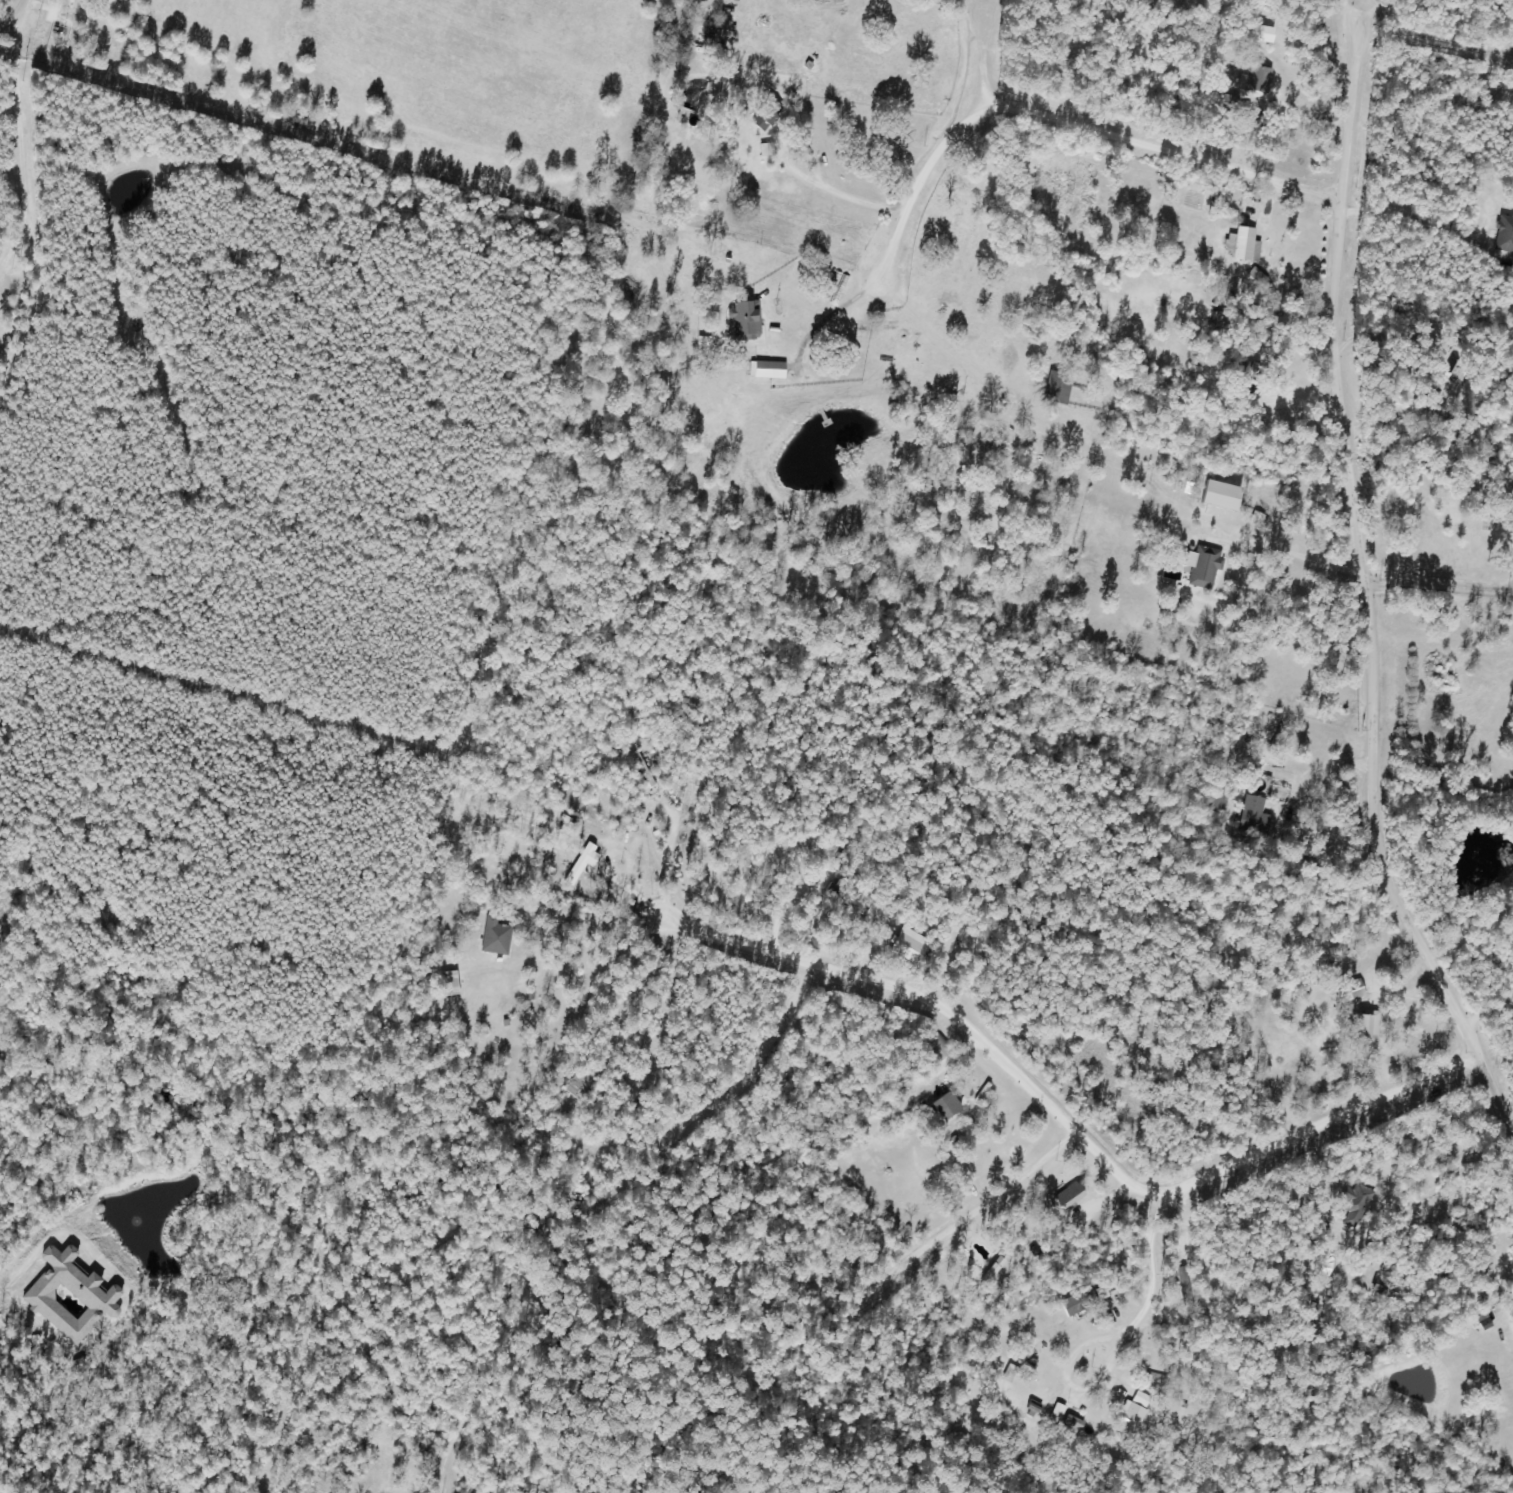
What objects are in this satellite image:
road: (23, 21)
road: (1379, 22)
road: (980, 50)
building: (1255, 78)
road: (1347, 98)
building: (764, 114)
road: (1165, 149)
road: (918, 185)
road: (1424, 218)
building: (1504, 234)
building: (1238, 244)
road: (872, 247)
building: (744, 320)
building: (1249, 384)
building: (1056, 387)
building: (1202, 567)
road: (1371, 680)
building: (644, 770)
building: (1218, 795)
building: (1252, 815)
building: (845, 897)
building: (495, 936)
building: (908, 945)
building: (448, 983)
building: (1350, 990)
building: (1365, 1024)
building: (933, 1045)
building: (581, 1084)
building: (943, 1105)
road: (1076, 1124)
building: (1067, 1196)
building: (1354, 1203)
road: (20, 1281)
building: (1075, 1303)
building: (1112, 1317)
building: (1055, 1414)
building: (1130, 1414)

